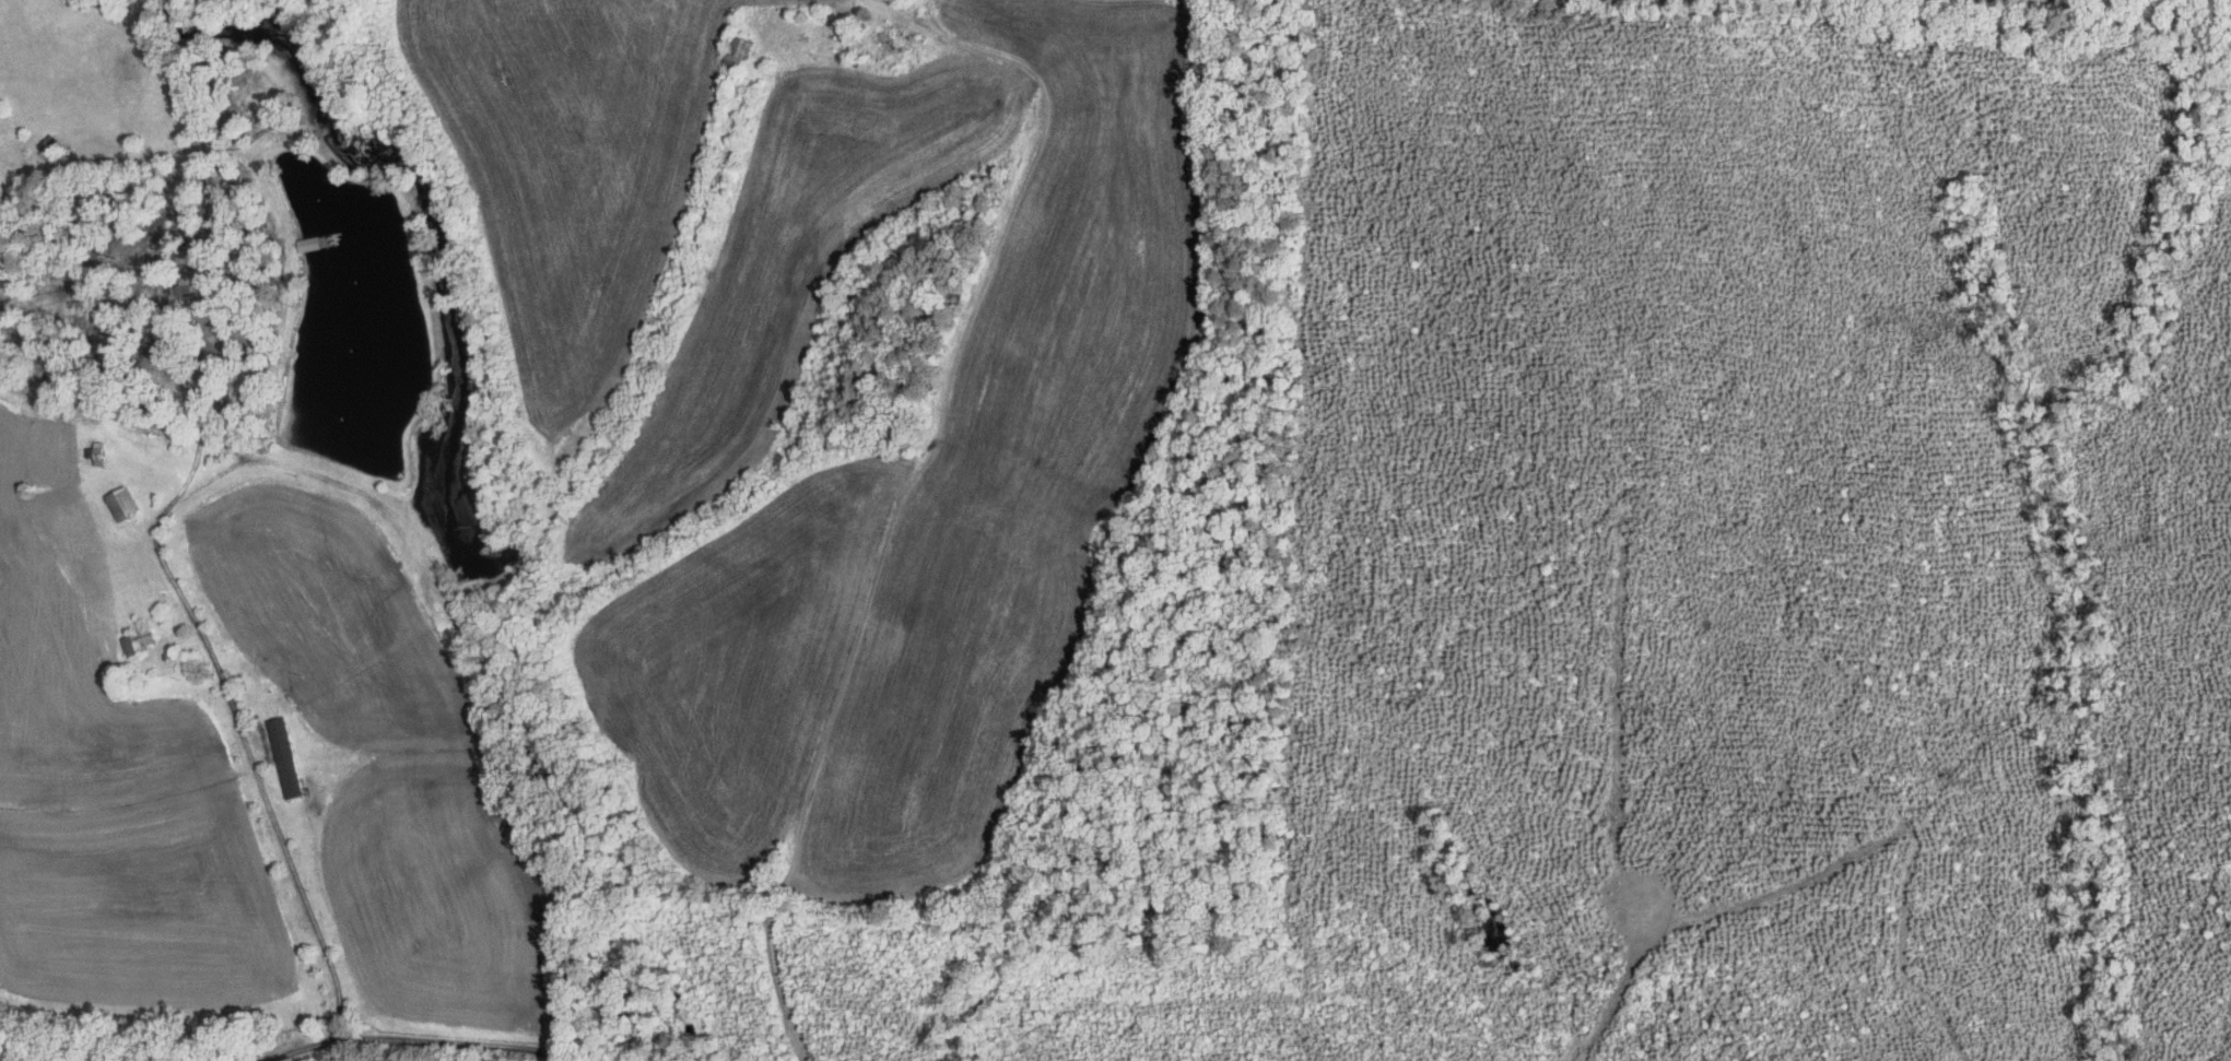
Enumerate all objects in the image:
road: (997, 162)
building: (181, 290)
building: (93, 452)
building: (119, 503)
road: (152, 613)
building: (136, 640)
building: (283, 756)
road: (431, 1035)

